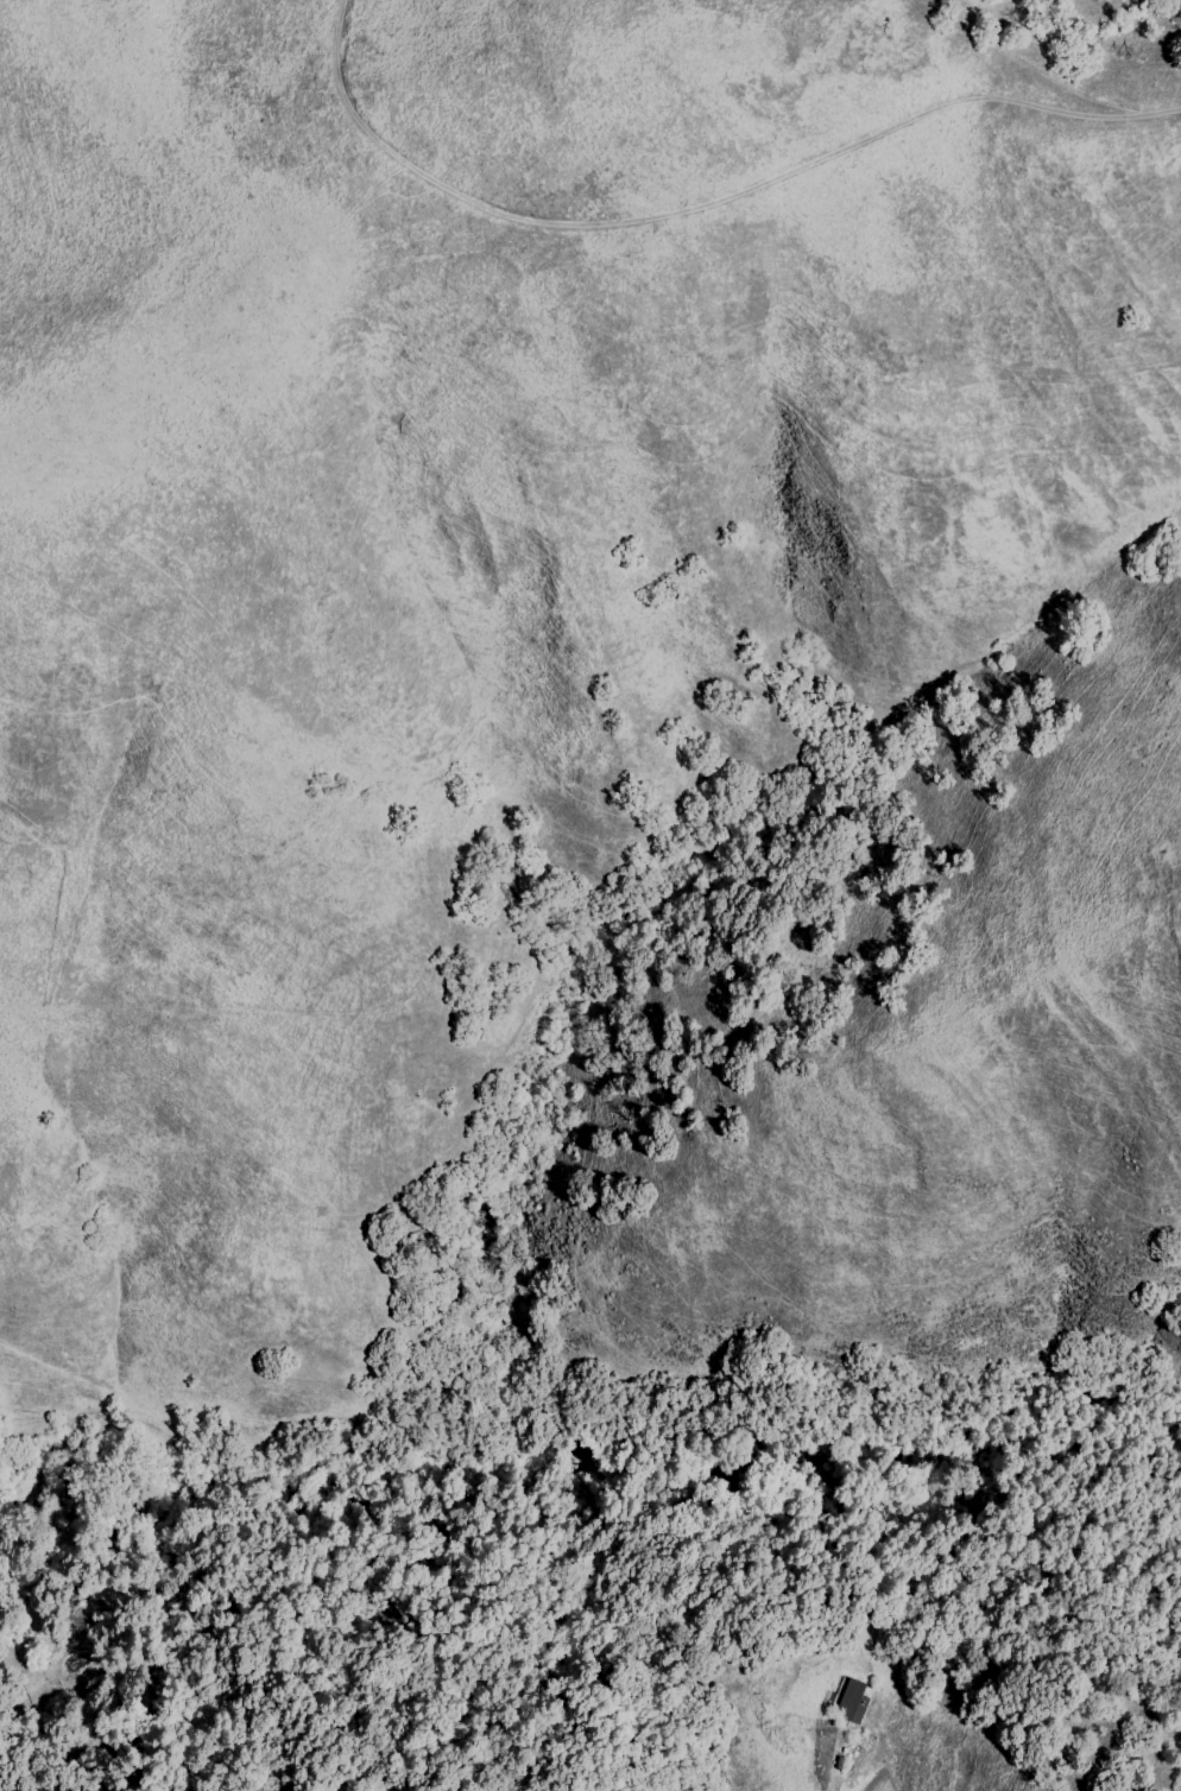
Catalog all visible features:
building: (851, 1702)
road: (821, 1780)

